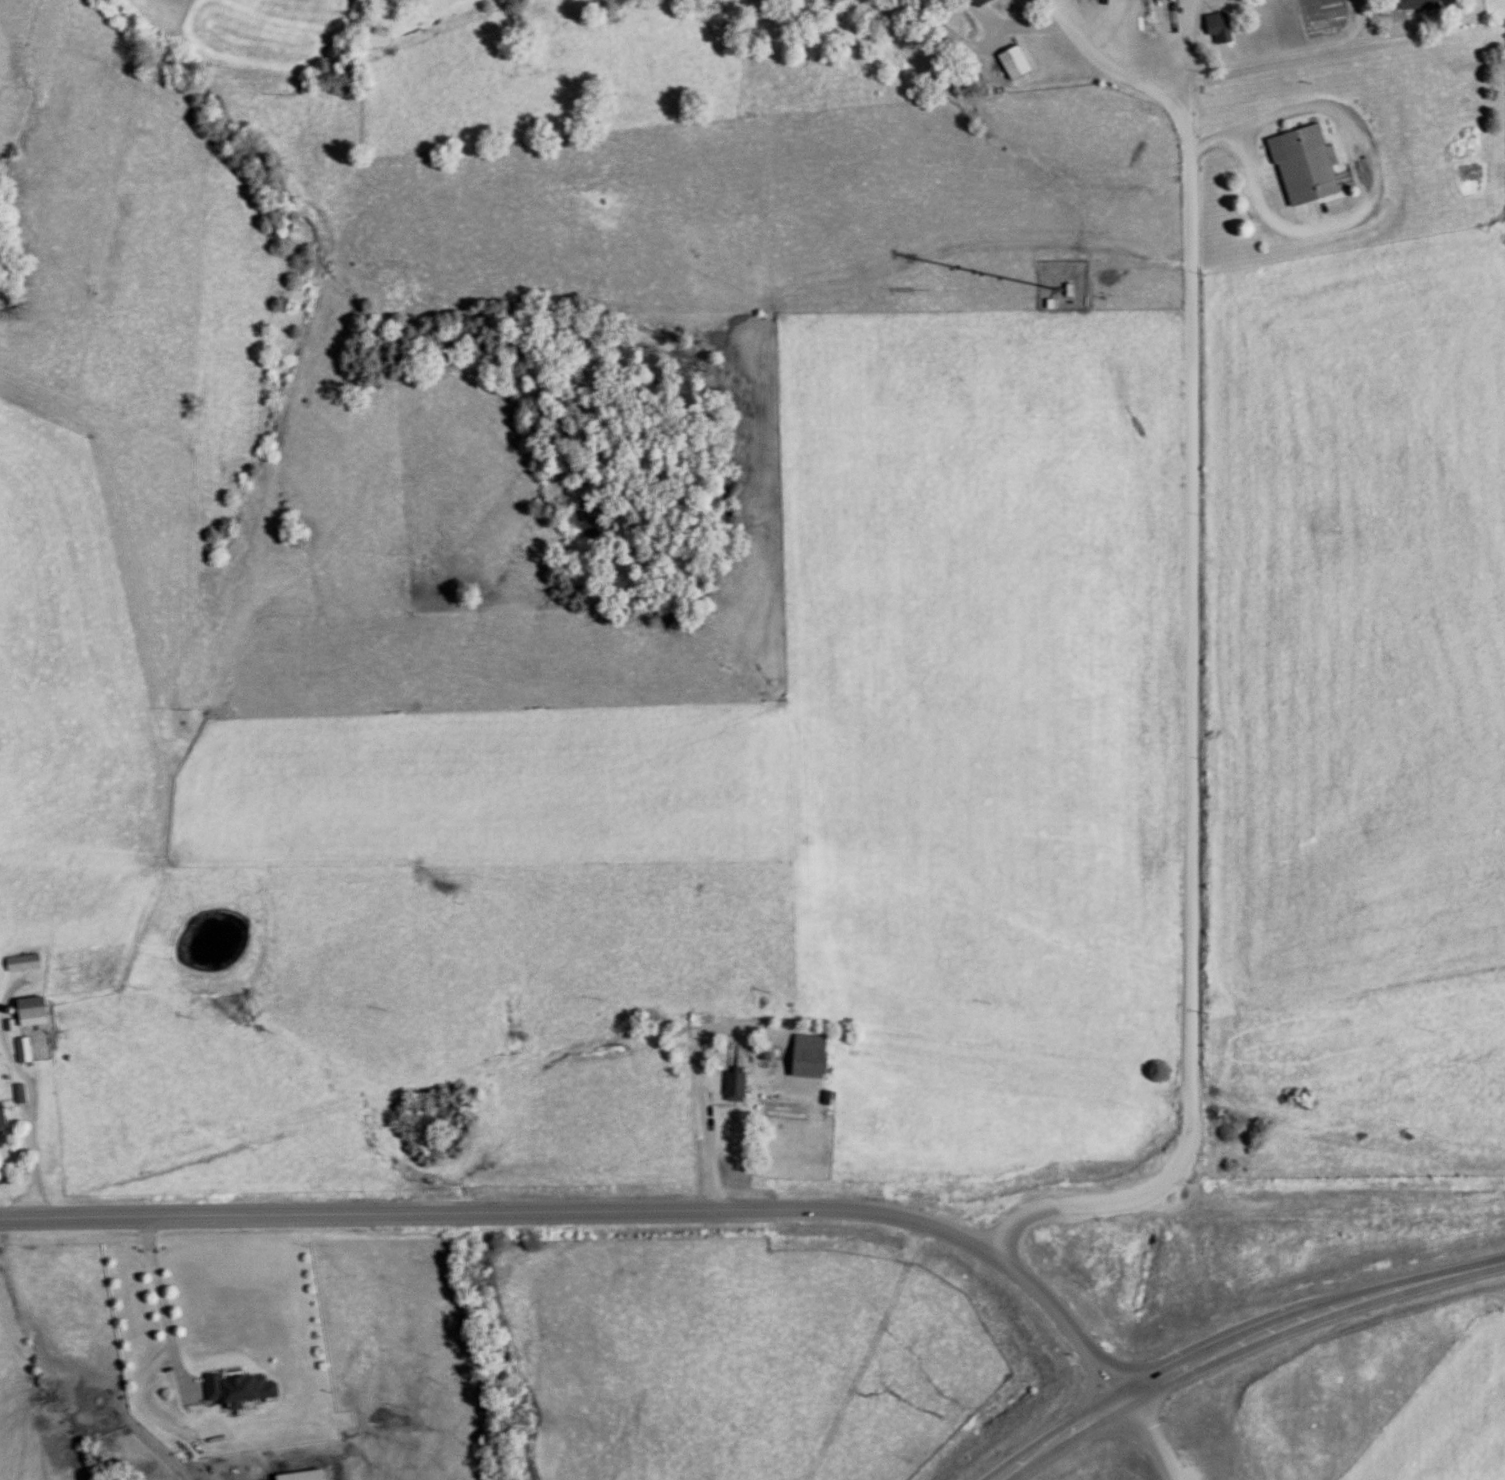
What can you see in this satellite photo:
building: (988, 2)
building: (1409, 4)
building: (1222, 28)
road: (1197, 51)
road: (1300, 56)
building: (1016, 63)
road: (1111, 70)
building: (1299, 164)
road: (1198, 750)
building: (27, 962)
building: (41, 1011)
building: (26, 1049)
building: (816, 1055)
building: (0, 1061)
building: (740, 1085)
building: (23, 1093)
building: (4, 1118)
road: (601, 1212)
road: (163, 1299)
road: (1238, 1340)
building: (245, 1386)
road: (1152, 1438)
building: (310, 1475)

